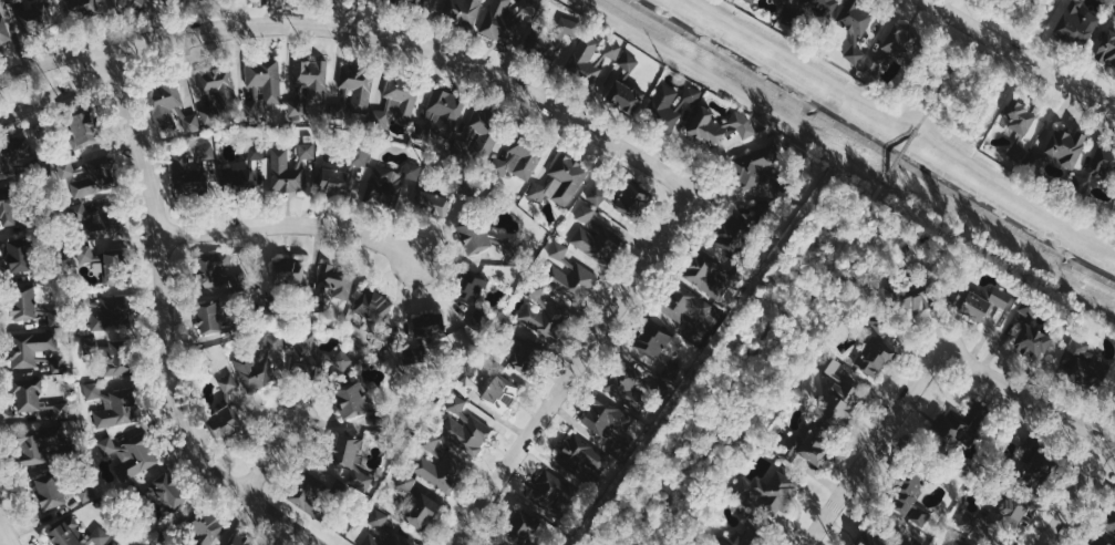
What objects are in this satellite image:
building: (0, 0)
building: (376, 0)
building: (413, 1)
building: (751, 1)
building: (126, 3)
building: (820, 6)
building: (83, 7)
building: (464, 10)
building: (32, 14)
building: (857, 19)
building: (503, 22)
building: (1077, 23)
building: (4, 33)
building: (555, 39)
building: (901, 43)
road: (420, 44)
building: (1107, 48)
building: (855, 52)
road: (1022, 54)
building: (593, 56)
road: (55, 61)
road: (954, 62)
building: (871, 65)
building: (264, 83)
building: (309, 86)
building: (626, 86)
road: (60, 90)
building: (355, 91)
building: (692, 94)
building: (398, 101)
building: (664, 107)
building: (172, 111)
building: (445, 113)
building: (1020, 119)
road: (907, 121)
building: (719, 125)
building: (82, 127)
building: (479, 141)
building: (1065, 145)
road: (904, 148)
building: (257, 152)
building: (361, 154)
building: (13, 155)
road: (847, 156)
building: (519, 161)
building: (65, 168)
building: (295, 168)
building: (1097, 168)
building: (192, 171)
building: (757, 172)
building: (100, 175)
building: (238, 179)
building: (335, 181)
building: (561, 181)
building: (394, 183)
building: (598, 194)
building: (633, 198)
building: (434, 204)
building: (8, 212)
building: (587, 214)
building: (96, 223)
road: (290, 224)
building: (733, 234)
building: (474, 237)
building: (598, 241)
building: (559, 250)
building: (19, 254)
building: (103, 259)
building: (290, 271)
building: (706, 274)
building: (216, 275)
building: (572, 280)
building: (338, 282)
building: (471, 286)
building: (911, 297)
building: (1000, 297)
building: (22, 302)
building: (971, 302)
building: (685, 305)
building: (543, 312)
building: (111, 313)
building: (208, 317)
building: (509, 327)
road: (168, 328)
building: (430, 328)
building: (1028, 336)
building: (653, 342)
building: (31, 347)
building: (304, 350)
building: (112, 356)
building: (527, 357)
building: (875, 358)
road: (761, 359)
building: (262, 363)
building: (337, 364)
road: (570, 374)
building: (467, 385)
building: (623, 387)
building: (93, 390)
building: (500, 392)
building: (1114, 392)
building: (27, 393)
building: (837, 395)
road: (1030, 395)
building: (351, 401)
building: (457, 407)
building: (117, 409)
building: (228, 409)
building: (62, 410)
building: (608, 417)
building: (961, 428)
building: (467, 432)
building: (431, 440)
building: (41, 444)
road: (873, 449)
building: (344, 452)
building: (131, 454)
building: (585, 456)
road: (276, 460)
building: (1035, 466)
building: (442, 470)
building: (361, 479)
building: (406, 482)
building: (48, 490)
building: (554, 491)
road: (1075, 491)
building: (87, 492)
building: (166, 493)
building: (768, 493)
building: (911, 501)
building: (421, 511)
building: (379, 518)
building: (998, 518)
building: (1109, 520)
building: (524, 528)
building: (205, 529)
road: (3, 532)
building: (76, 534)
building: (386, 538)
building: (881, 538)
building: (237, 539)
building: (1099, 542)
building: (118, 544)
building: (954, 544)

